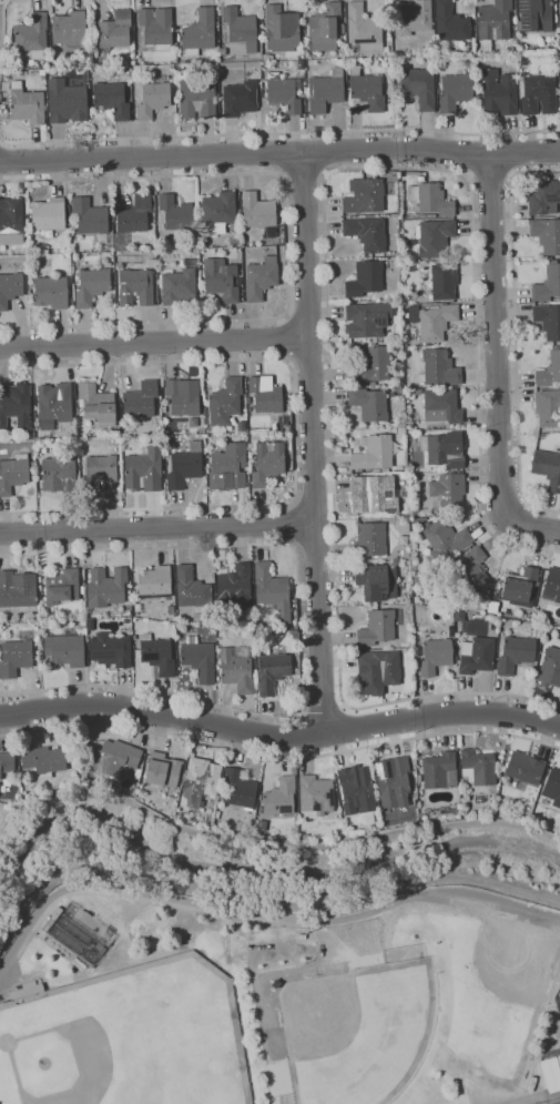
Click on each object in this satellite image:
road: (3, 0)
building: (534, 16)
building: (415, 17)
building: (559, 17)
building: (493, 20)
building: (451, 22)
building: (70, 28)
building: (156, 28)
building: (241, 28)
building: (324, 28)
building: (342, 28)
building: (281, 29)
building: (364, 29)
building: (115, 30)
building: (200, 32)
road: (3, 36)
building: (32, 36)
building: (223, 51)
building: (307, 55)
building: (267, 57)
building: (14, 61)
building: (297, 63)
building: (42, 72)
building: (113, 72)
building: (302, 73)
building: (346, 79)
building: (419, 87)
building: (367, 90)
building: (326, 91)
building: (455, 91)
building: (499, 92)
building: (284, 93)
building: (538, 94)
building: (241, 98)
building: (153, 99)
building: (197, 99)
building: (112, 100)
building: (67, 102)
building: (28, 105)
building: (2, 107)
road: (279, 132)
road: (279, 151)
road: (302, 174)
road: (491, 176)
building: (365, 196)
building: (543, 196)
building: (431, 199)
building: (68, 210)
building: (257, 211)
building: (220, 212)
building: (176, 213)
building: (49, 214)
building: (90, 215)
building: (428, 215)
building: (132, 219)
building: (11, 222)
building: (367, 233)
building: (547, 234)
building: (435, 237)
road: (286, 249)
road: (326, 261)
building: (261, 278)
building: (365, 278)
building: (221, 280)
building: (444, 281)
building: (548, 283)
building: (92, 286)
building: (135, 287)
building: (179, 287)
building: (10, 288)
building: (73, 291)
building: (51, 292)
building: (367, 320)
building: (548, 321)
building: (437, 322)
road: (516, 331)
road: (496, 336)
road: (286, 340)
road: (154, 343)
building: (371, 366)
building: (439, 367)
building: (550, 371)
building: (399, 381)
building: (373, 383)
building: (265, 394)
building: (183, 396)
building: (141, 401)
building: (224, 403)
building: (54, 404)
building: (98, 404)
building: (369, 404)
building: (16, 405)
building: (441, 406)
building: (548, 407)
building: (163, 408)
building: (248, 408)
road: (293, 432)
road: (312, 443)
building: (116, 447)
building: (444, 449)
building: (374, 454)
building: (32, 464)
building: (267, 464)
building: (185, 466)
building: (228, 467)
building: (548, 468)
building: (144, 470)
building: (99, 472)
building: (13, 474)
building: (60, 474)
building: (448, 490)
building: (374, 495)
road: (295, 523)
building: (416, 523)
road: (532, 525)
road: (156, 527)
building: (417, 533)
building: (370, 539)
building: (445, 540)
building: (471, 569)
building: (154, 581)
building: (377, 581)
building: (235, 583)
building: (552, 584)
building: (62, 587)
building: (106, 587)
building: (520, 588)
building: (18, 589)
building: (83, 589)
building: (192, 589)
building: (273, 590)
building: (487, 592)
building: (138, 607)
building: (491, 607)
building: (171, 609)
building: (82, 622)
building: (377, 627)
building: (90, 630)
road: (299, 635)
building: (111, 649)
building: (65, 650)
building: (157, 655)
building: (477, 655)
building: (515, 655)
building: (16, 656)
building: (435, 656)
building: (198, 658)
building: (550, 668)
building: (237, 669)
building: (272, 671)
building: (378, 671)
road: (323, 712)
road: (281, 736)
road: (279, 758)
building: (43, 760)
building: (119, 761)
building: (7, 762)
building: (478, 767)
building: (526, 768)
building: (440, 771)
building: (163, 773)
building: (418, 778)
building: (393, 781)
building: (200, 783)
building: (552, 787)
building: (240, 789)
building: (356, 789)
building: (316, 794)
building: (281, 797)
building: (479, 799)
building: (217, 814)
road: (262, 850)
road: (476, 898)
building: (510, 916)
road: (304, 921)
building: (48, 926)
building: (559, 932)
building: (78, 940)
building: (27, 990)
park: (471, 990)
building: (559, 994)
park: (123, 1043)
building: (559, 1059)
building: (528, 1074)
building: (551, 1074)
park: (342, 1087)
road: (543, 1100)
building: (558, 1103)

